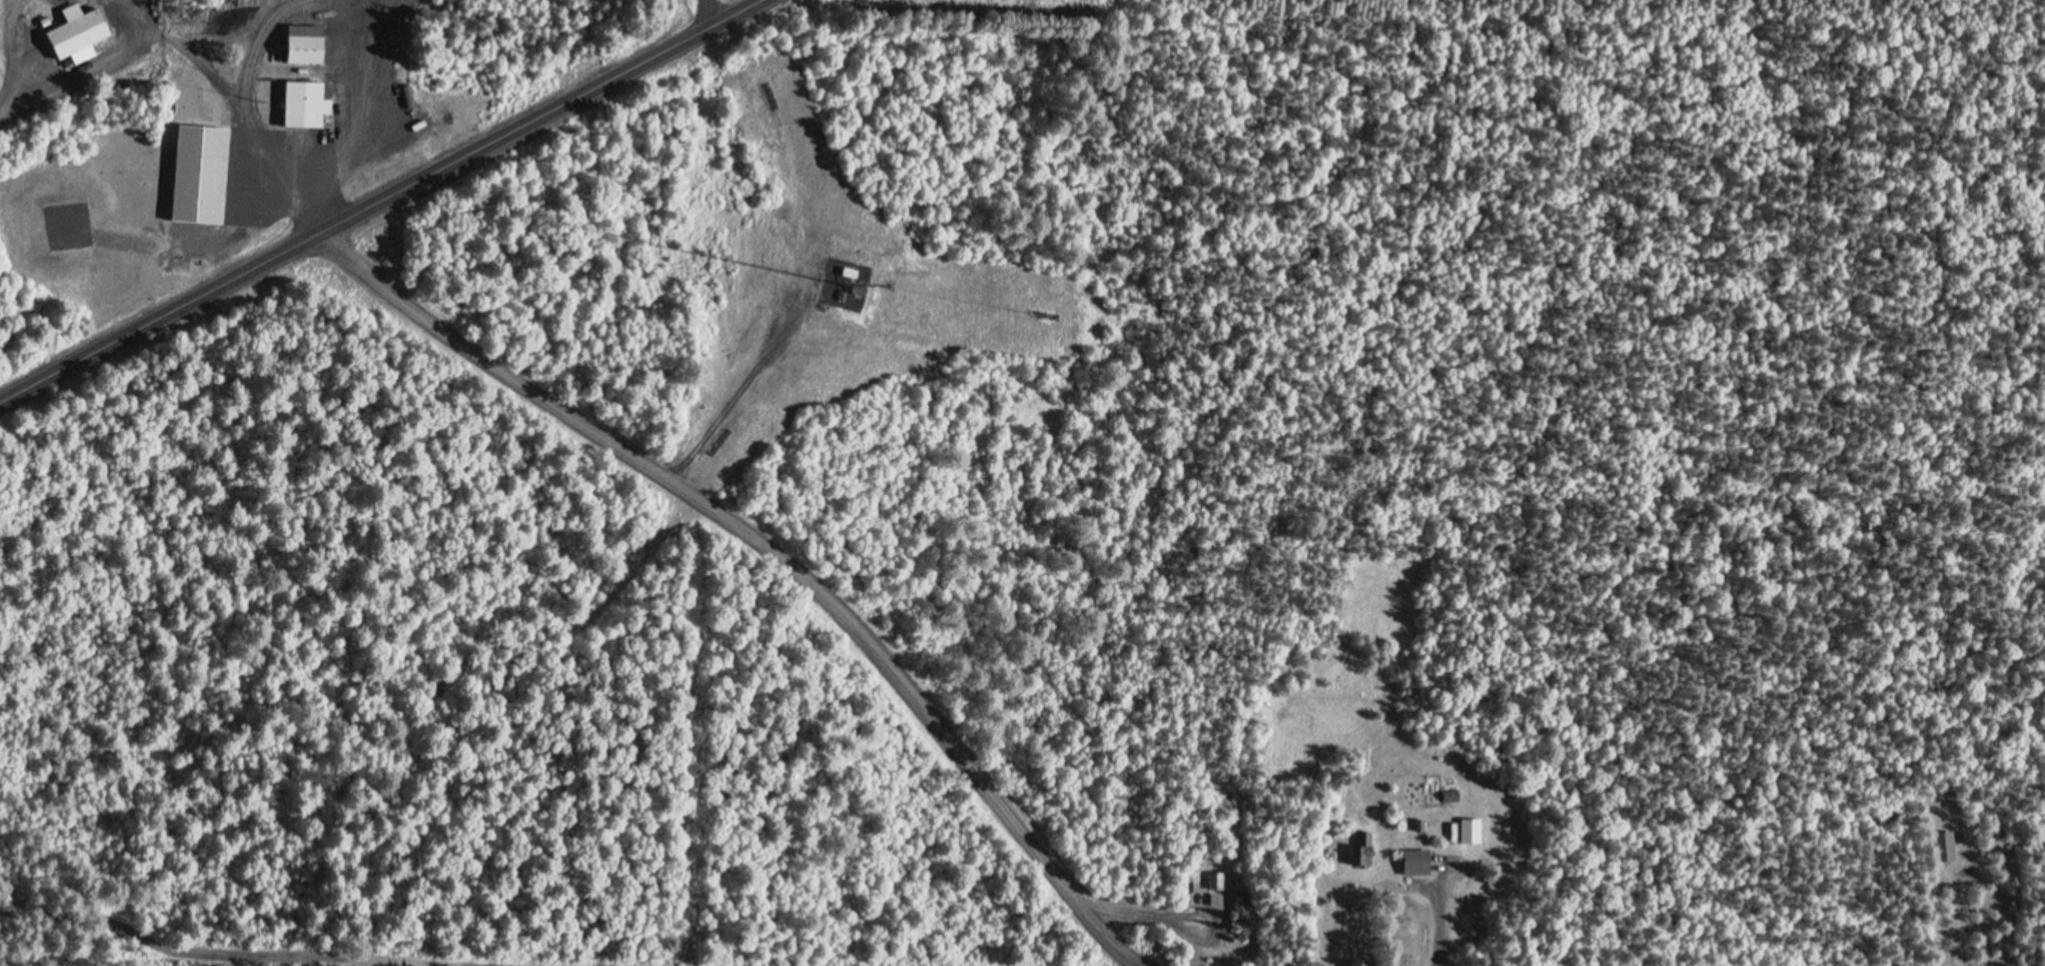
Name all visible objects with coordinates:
building: (77, 36)
building: (306, 44)
road: (20, 51)
road: (89, 66)
building: (305, 105)
road: (245, 111)
building: (195, 172)
road: (376, 197)
park: (200, 368)
road: (729, 397)
road: (773, 544)
building: (1470, 833)
building: (1945, 849)
building: (1363, 854)
building: (1219, 884)
road: (254, 958)

